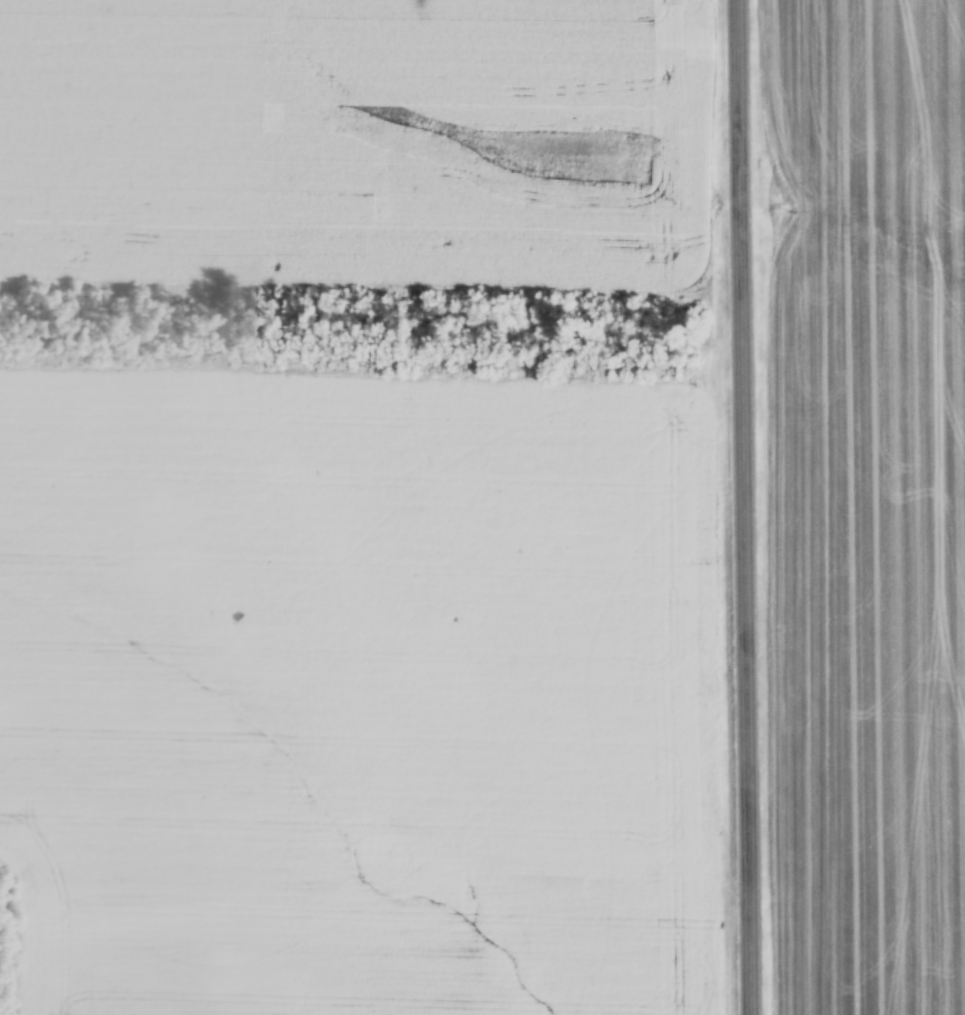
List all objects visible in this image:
road: (751, 507)

